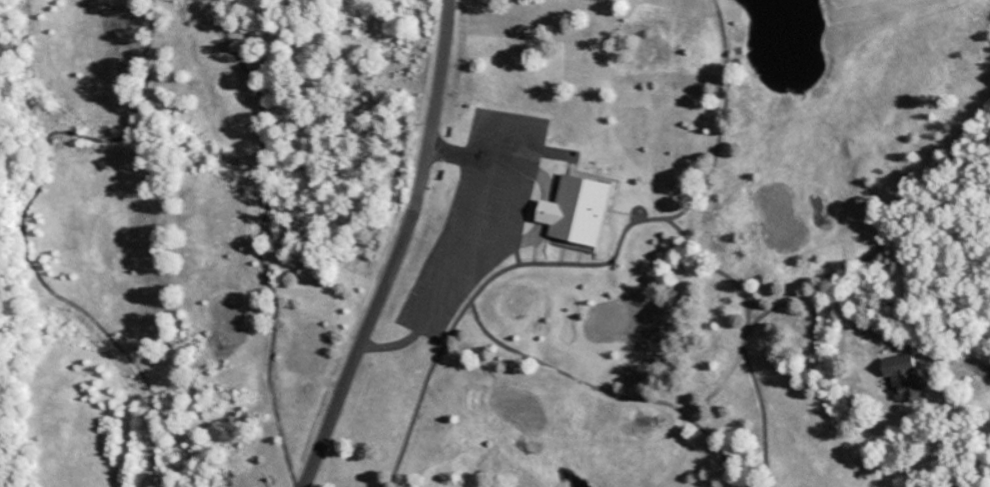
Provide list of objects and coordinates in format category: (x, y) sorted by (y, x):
building: (576, 212)
road: (399, 250)
building: (905, 379)

